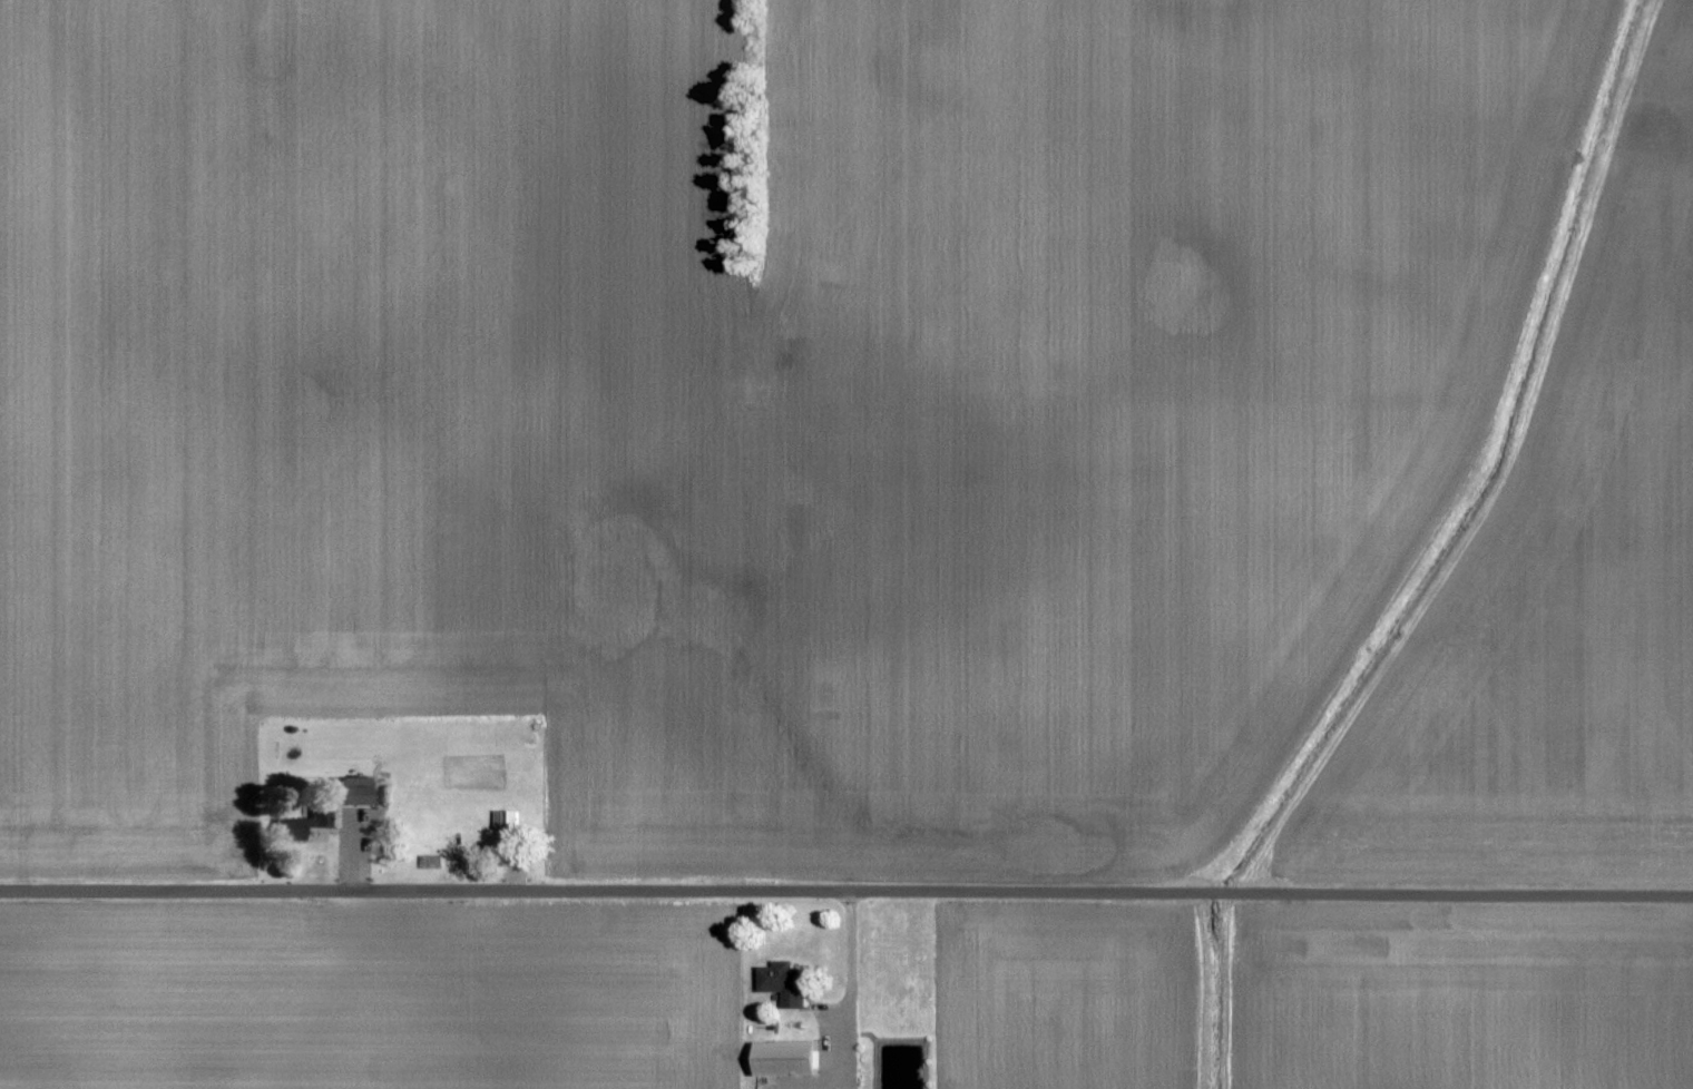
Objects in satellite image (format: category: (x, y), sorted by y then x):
road: (846, 892)
road: (844, 955)
building: (786, 983)
building: (789, 1059)

